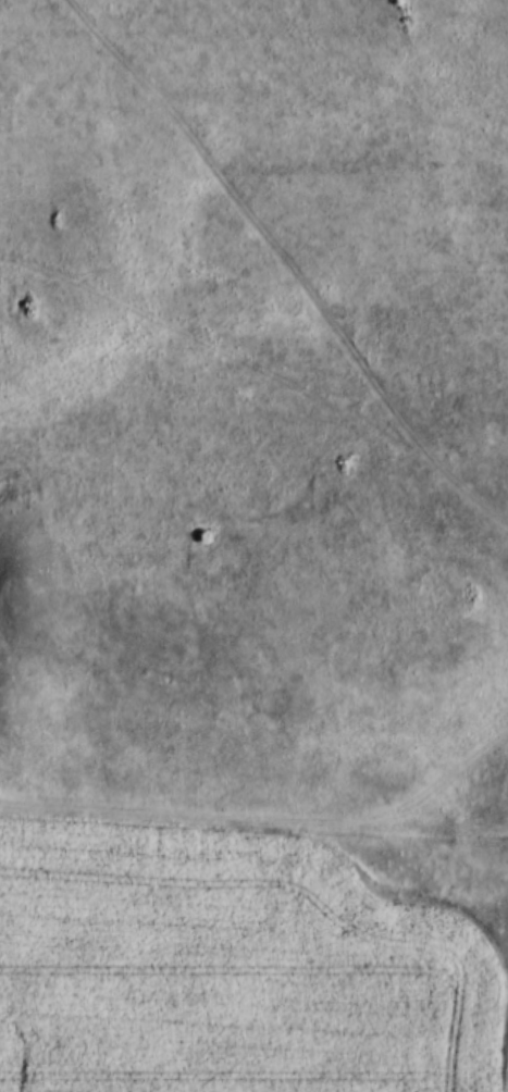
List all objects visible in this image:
road: (253, 822)

